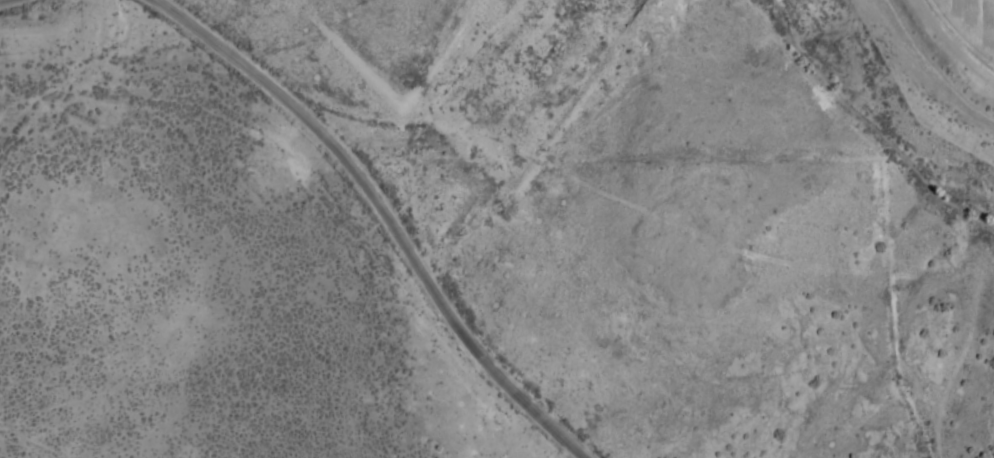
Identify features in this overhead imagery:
road: (390, 197)

